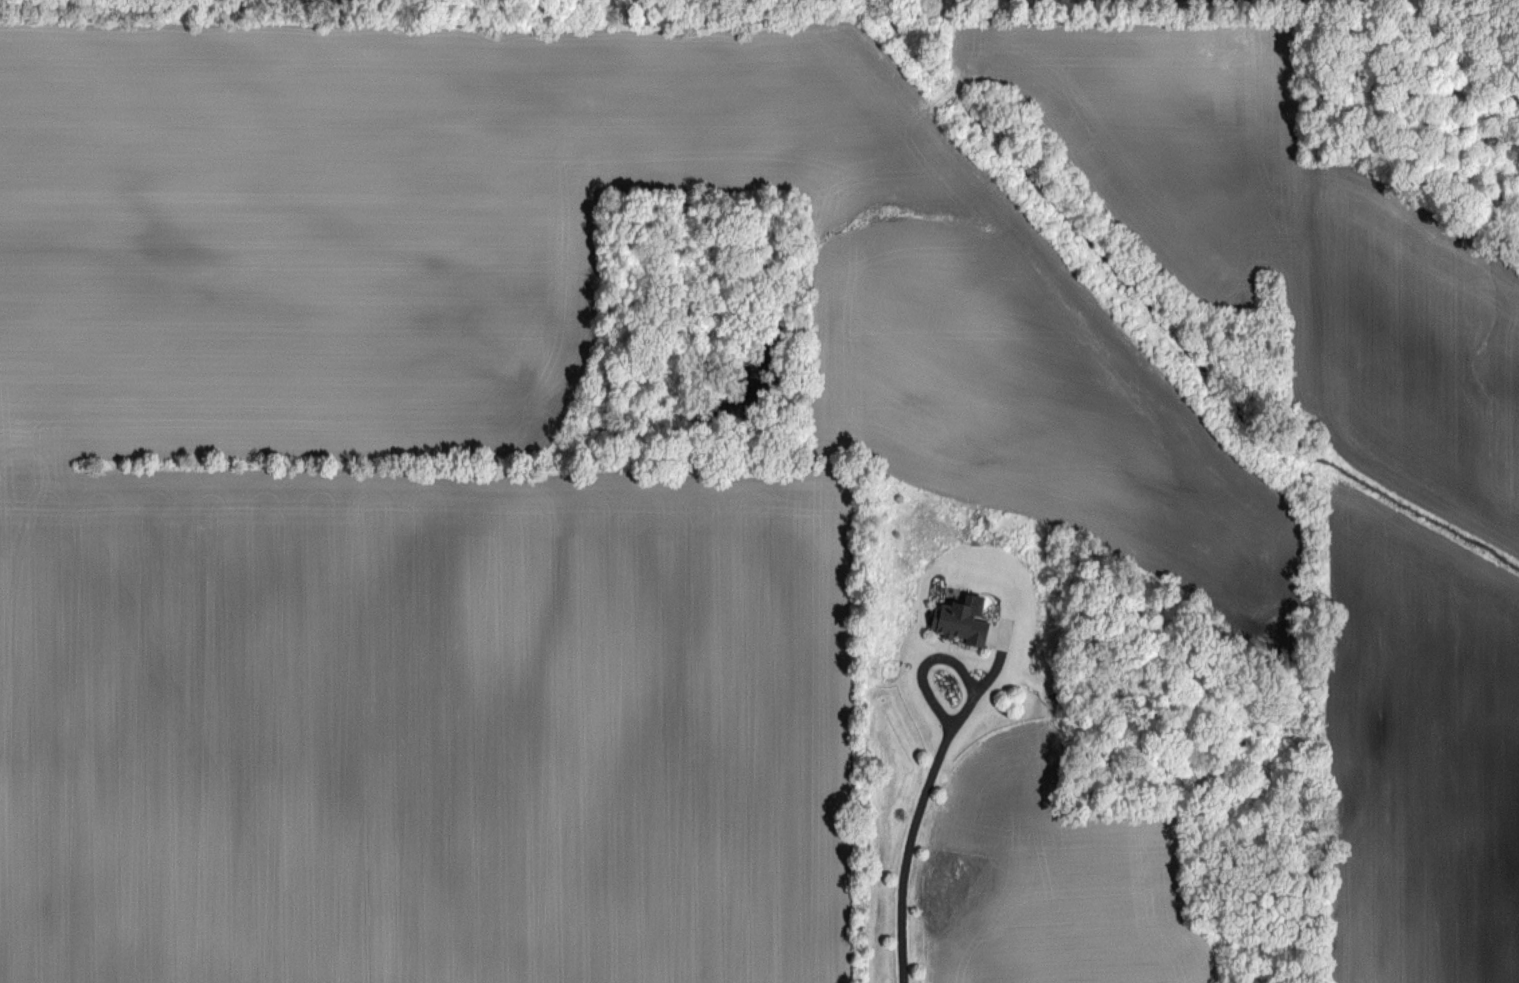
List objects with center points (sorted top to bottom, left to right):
building: (961, 620)
road: (939, 660)
road: (903, 852)

